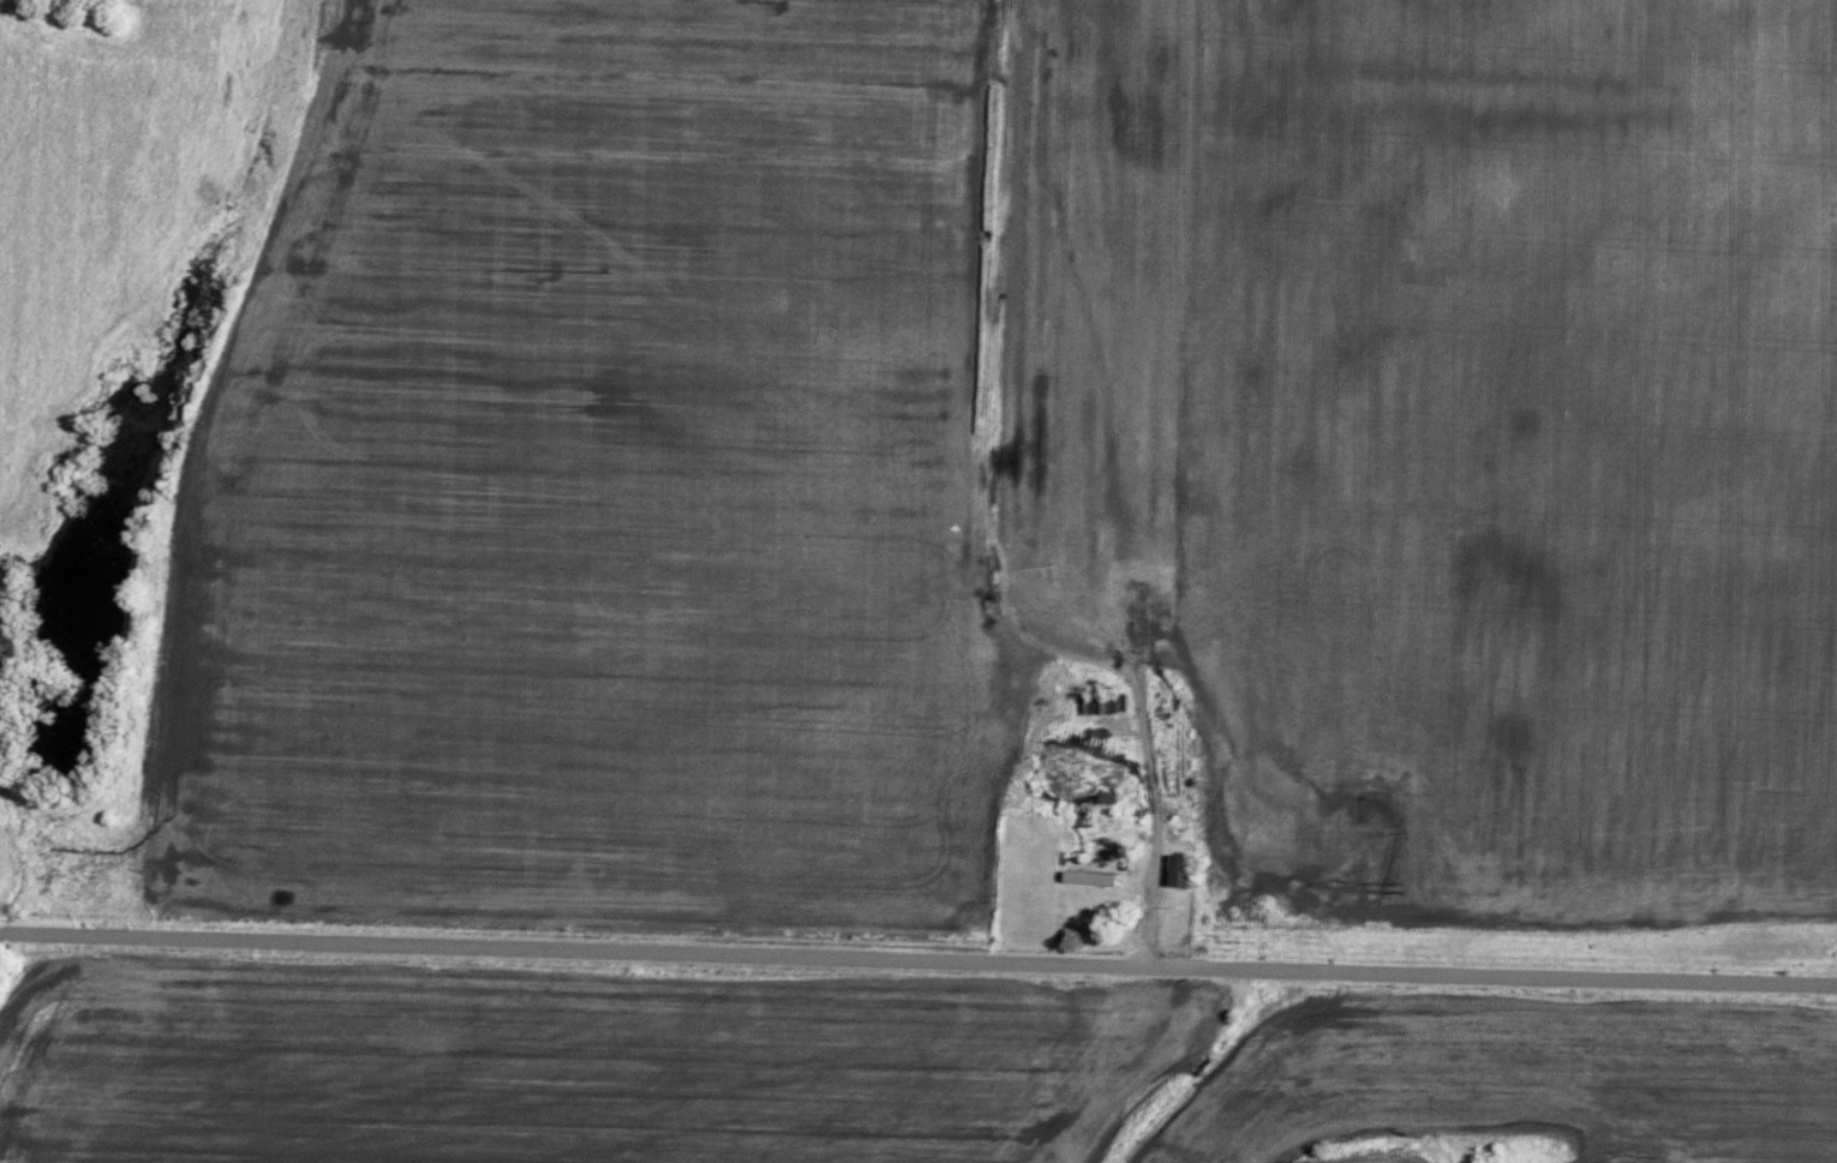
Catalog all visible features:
road: (1154, 832)
building: (1180, 867)
building: (1089, 875)
road: (918, 969)

